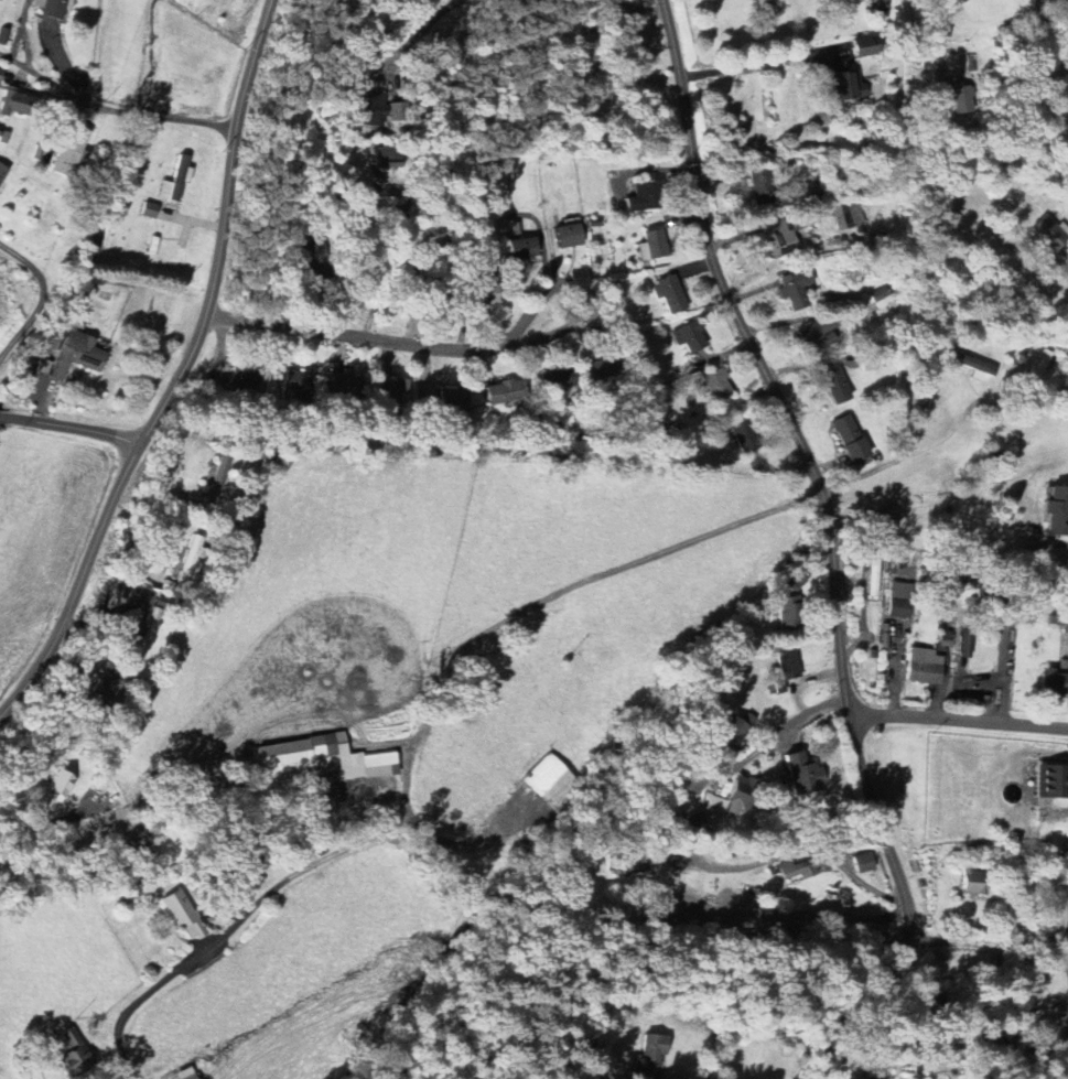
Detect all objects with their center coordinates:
road: (633, 3)
building: (53, 8)
road: (939, 32)
road: (411, 33)
road: (1039, 39)
building: (866, 45)
road: (762, 61)
building: (1, 74)
building: (848, 87)
building: (17, 104)
road: (125, 110)
building: (71, 151)
building: (387, 157)
building: (2, 172)
building: (645, 196)
building: (150, 209)
building: (848, 216)
building: (1048, 234)
building: (569, 235)
building: (778, 237)
building: (654, 245)
building: (522, 248)
road: (1065, 260)
road: (393, 266)
building: (796, 288)
building: (484, 293)
building: (670, 294)
road: (44, 296)
building: (882, 298)
building: (820, 333)
building: (689, 337)
road: (398, 343)
building: (78, 354)
building: (1039, 365)
building: (44, 366)
road: (182, 376)
building: (246, 380)
building: (557, 381)
building: (299, 385)
building: (718, 385)
building: (835, 385)
building: (346, 389)
building: (393, 391)
building: (506, 392)
building: (454, 402)
road: (72, 428)
building: (747, 436)
building: (851, 439)
road: (903, 456)
building: (1057, 510)
building: (888, 522)
road: (833, 546)
building: (191, 560)
building: (874, 575)
building: (900, 598)
building: (165, 602)
building: (790, 604)
building: (1066, 626)
building: (149, 632)
building: (964, 645)
building: (788, 663)
building: (925, 666)
building: (1054, 681)
building: (110, 682)
road: (958, 716)
building: (731, 733)
road: (776, 736)
road: (422, 738)
building: (323, 759)
building: (803, 774)
building: (1051, 780)
building: (741, 795)
road: (55, 820)
building: (697, 821)
road: (457, 841)
building: (864, 862)
building: (800, 867)
building: (975, 881)
building: (1064, 908)
building: (184, 915)
road: (993, 940)
building: (938, 1043)
building: (652, 1049)
building: (75, 1054)
building: (188, 1073)
building: (875, 1073)
road: (1067, 1078)

